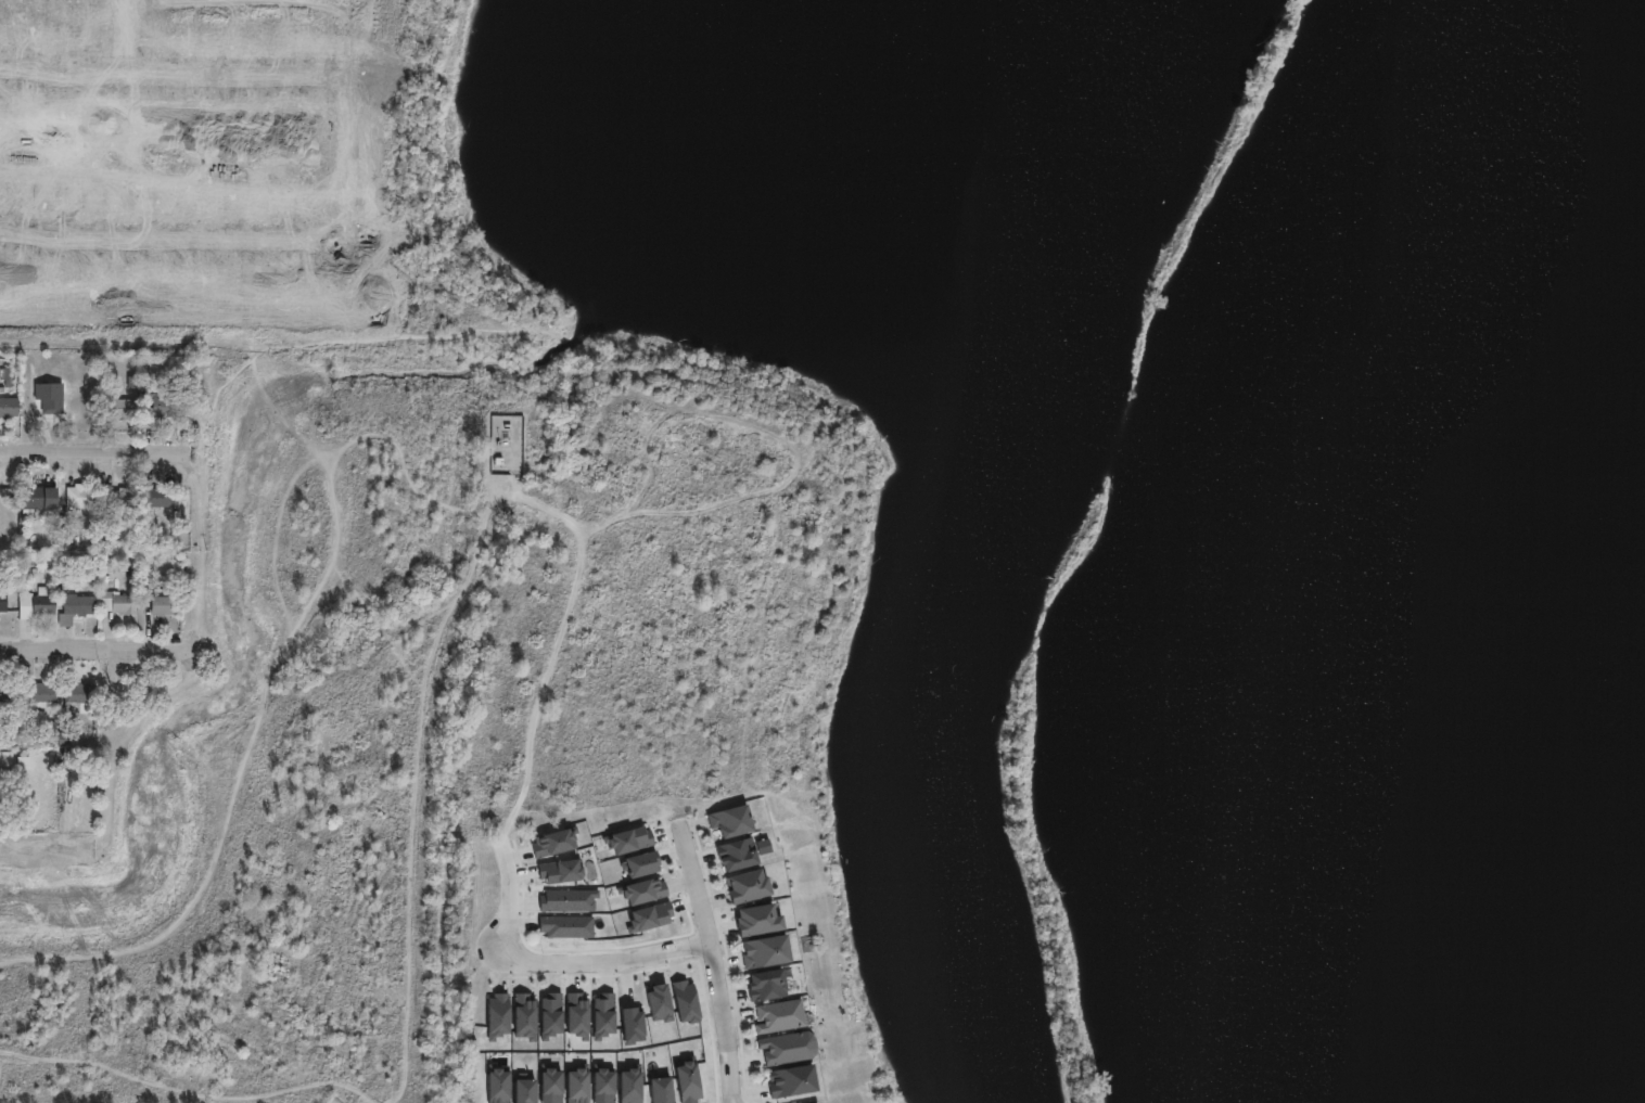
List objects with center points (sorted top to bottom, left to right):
building: (7, 382)
building: (50, 397)
building: (151, 398)
building: (8, 407)
building: (119, 408)
road: (79, 449)
building: (79, 497)
building: (120, 498)
building: (156, 498)
building: (35, 499)
building: (2, 601)
building: (37, 604)
building: (117, 604)
building: (160, 606)
building: (73, 608)
road: (99, 646)
road: (553, 657)
building: (77, 693)
building: (5, 695)
building: (35, 696)
building: (732, 822)
building: (629, 839)
road: (40, 846)
building: (738, 855)
building: (641, 864)
building: (748, 886)
building: (641, 892)
building: (760, 920)
building: (766, 952)
road: (711, 964)
road: (557, 965)
building: (767, 986)
building: (779, 1017)
building: (787, 1049)
building: (793, 1081)
building: (604, 1083)
building: (499, 1085)
building: (551, 1085)
building: (661, 1088)

